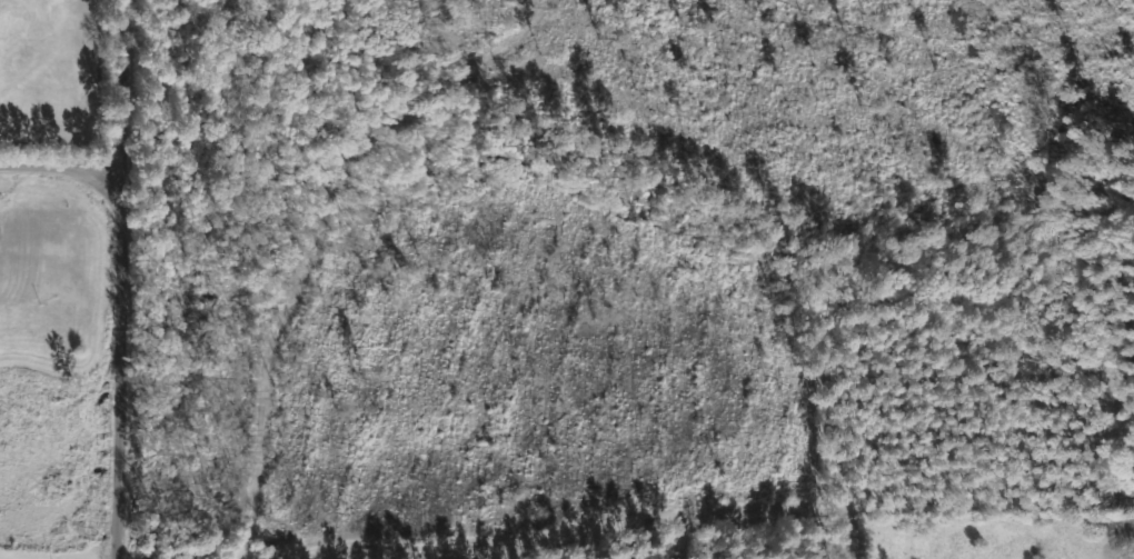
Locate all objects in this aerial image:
road: (66, 166)
road: (130, 279)

